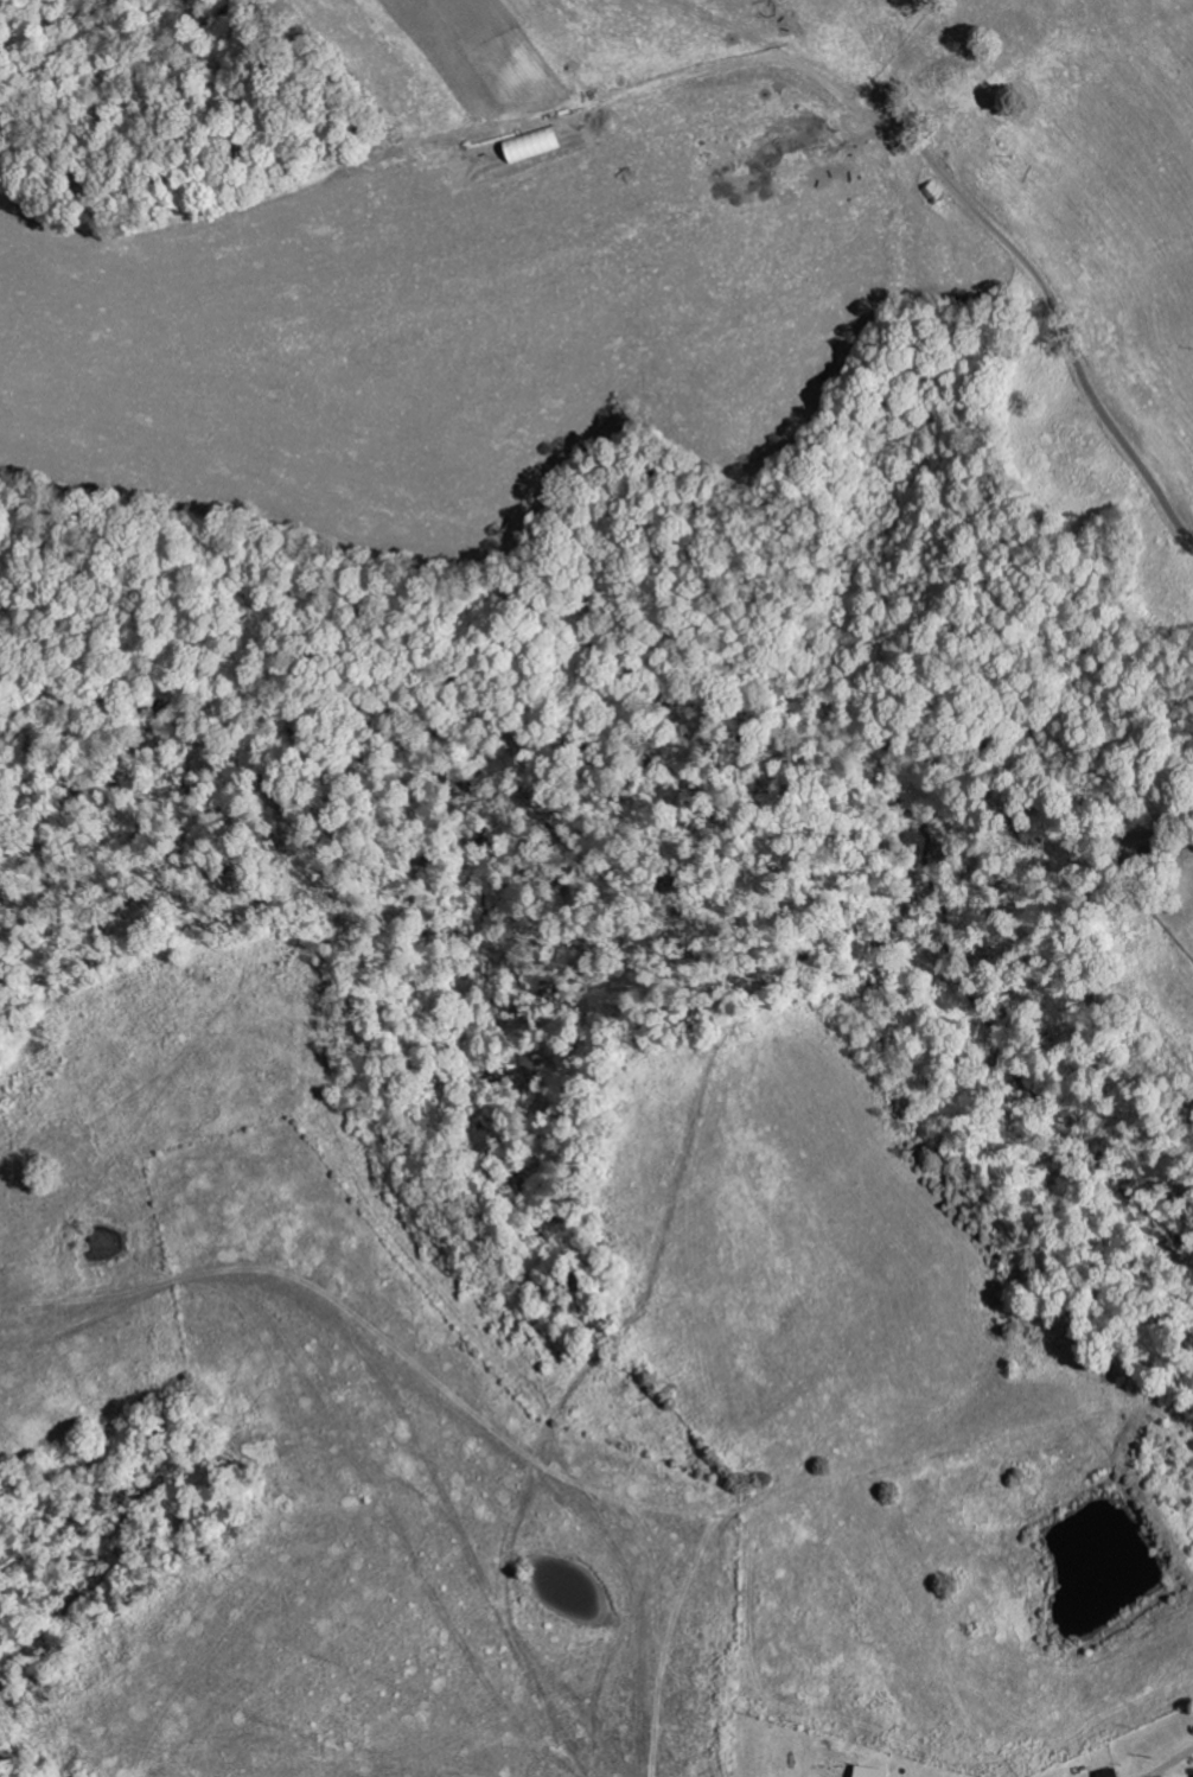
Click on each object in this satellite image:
road: (1060, 325)

